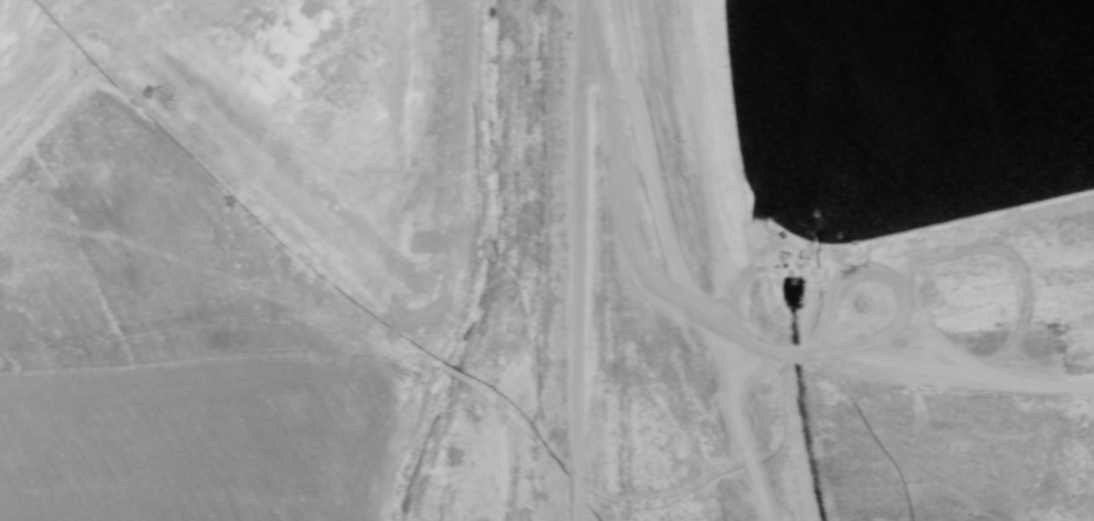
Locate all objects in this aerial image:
crop: (290, 259)

